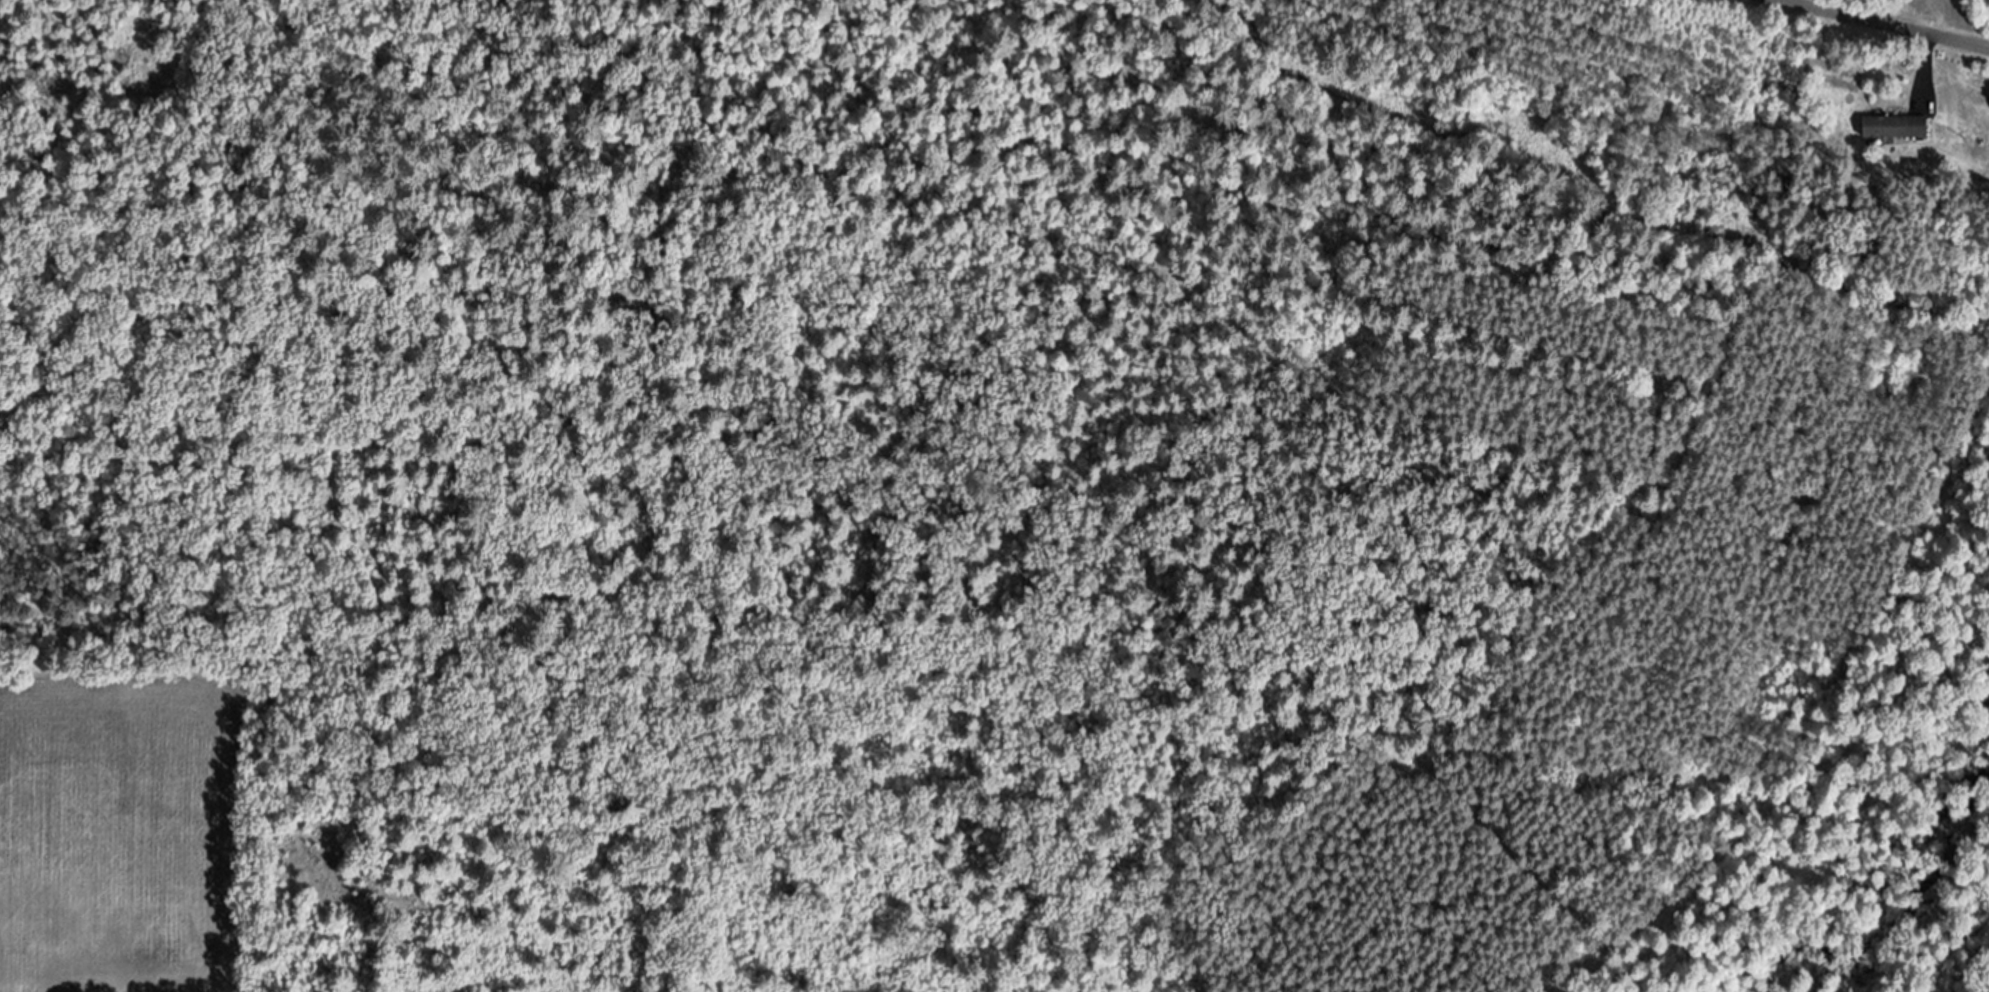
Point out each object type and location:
road: (1884, 23)
building: (1897, 134)

